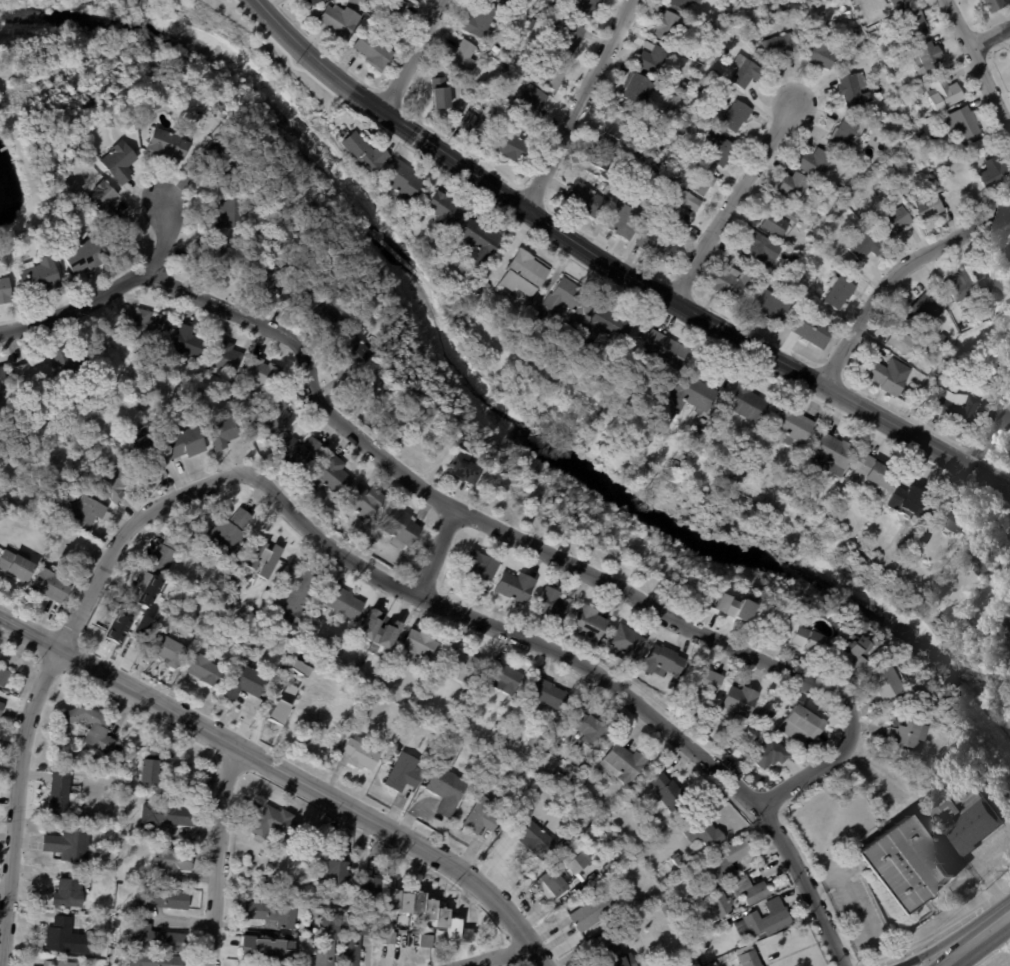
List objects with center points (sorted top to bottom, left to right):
building: (354, 0)
building: (744, 0)
building: (982, 0)
building: (311, 1)
building: (501, 1)
building: (317, 2)
building: (554, 4)
building: (684, 4)
building: (904, 4)
building: (995, 6)
building: (561, 8)
building: (368, 9)
building: (587, 9)
building: (392, 10)
building: (340, 21)
building: (482, 23)
building: (916, 24)
building: (807, 25)
building: (671, 27)
road: (988, 33)
building: (570, 37)
building: (779, 47)
building: (822, 50)
building: (375, 52)
building: (728, 53)
road: (409, 55)
building: (463, 58)
building: (929, 58)
building: (703, 59)
building: (654, 61)
road: (977, 66)
building: (746, 71)
building: (553, 75)
building: (855, 89)
building: (641, 91)
building: (948, 92)
building: (496, 93)
building: (442, 95)
road: (578, 104)
building: (676, 105)
building: (531, 106)
building: (112, 114)
building: (671, 117)
building: (690, 117)
building: (737, 117)
building: (621, 123)
building: (963, 126)
building: (477, 128)
building: (922, 131)
building: (845, 135)
building: (695, 141)
building: (165, 142)
building: (514, 147)
building: (672, 148)
building: (722, 148)
building: (364, 153)
building: (605, 156)
building: (973, 156)
building: (118, 160)
building: (223, 162)
building: (870, 162)
building: (816, 164)
building: (847, 166)
building: (995, 175)
building: (404, 180)
building: (705, 180)
building: (663, 181)
building: (604, 187)
building: (794, 187)
building: (841, 191)
building: (967, 193)
building: (849, 197)
building: (682, 202)
road: (733, 202)
building: (591, 203)
building: (103, 204)
building: (931, 204)
building: (446, 210)
building: (232, 212)
building: (778, 221)
building: (895, 221)
building: (625, 222)
building: (665, 225)
building: (302, 236)
building: (480, 239)
building: (657, 245)
building: (868, 247)
building: (467, 249)
building: (764, 250)
building: (215, 252)
building: (1008, 253)
building: (82, 255)
road: (617, 264)
building: (793, 264)
building: (526, 273)
road: (892, 273)
building: (263, 275)
building: (994, 275)
building: (38, 276)
building: (731, 284)
building: (962, 287)
building: (5, 291)
building: (300, 292)
road: (109, 293)
building: (840, 294)
building: (1009, 301)
building: (568, 303)
building: (771, 307)
building: (925, 310)
building: (335, 316)
building: (908, 325)
building: (151, 327)
building: (815, 331)
building: (602, 332)
building: (901, 341)
building: (190, 342)
building: (664, 350)
building: (354, 351)
building: (224, 357)
building: (1003, 359)
building: (71, 364)
building: (263, 373)
building: (33, 377)
building: (888, 378)
building: (3, 382)
building: (374, 388)
building: (651, 393)
building: (691, 395)
building: (204, 396)
building: (748, 403)
building: (956, 407)
building: (585, 413)
building: (404, 417)
building: (278, 418)
building: (792, 425)
building: (223, 432)
road: (989, 439)
building: (182, 441)
building: (645, 441)
building: (459, 445)
building: (144, 451)
building: (302, 452)
building: (833, 455)
building: (464, 470)
building: (289, 474)
building: (875, 475)
building: (333, 476)
building: (745, 477)
building: (115, 483)
building: (365, 500)
building: (910, 502)
building: (88, 512)
building: (957, 516)
building: (401, 528)
building: (46, 530)
building: (231, 531)
building: (378, 538)
road: (436, 552)
road: (538, 552)
building: (987, 554)
building: (165, 555)
building: (47, 557)
building: (262, 557)
building: (16, 566)
building: (484, 566)
building: (156, 585)
building: (51, 586)
building: (517, 587)
building: (299, 599)
building: (344, 602)
building: (554, 605)
building: (731, 607)
building: (136, 609)
building: (995, 618)
building: (591, 623)
building: (380, 630)
building: (808, 639)
building: (214, 640)
building: (628, 643)
building: (419, 645)
building: (855, 649)
building: (168, 650)
building: (133, 652)
building: (664, 662)
building: (463, 665)
building: (296, 667)
building: (206, 670)
road: (588, 670)
road: (46, 671)
building: (4, 677)
building: (506, 678)
building: (385, 681)
building: (705, 681)
building: (888, 681)
building: (246, 682)
building: (423, 682)
building: (672, 687)
building: (428, 694)
building: (548, 696)
building: (742, 702)
building: (1, 708)
building: (938, 708)
building: (287, 711)
building: (363, 717)
building: (360, 724)
building: (461, 725)
building: (803, 725)
building: (91, 726)
building: (588, 727)
building: (514, 730)
building: (907, 733)
building: (737, 738)
building: (538, 740)
building: (119, 750)
building: (771, 754)
building: (359, 755)
building: (624, 764)
building: (151, 765)
road: (287, 773)
building: (405, 774)
building: (448, 790)
building: (62, 791)
building: (671, 796)
building: (168, 814)
building: (965, 816)
building: (483, 817)
building: (274, 823)
building: (702, 831)
building: (535, 838)
building: (69, 844)
road: (223, 855)
building: (678, 861)
building: (173, 862)
building: (242, 862)
building: (905, 864)
building: (577, 865)
building: (724, 865)
building: (338, 866)
building: (556, 885)
building: (70, 890)
building: (368, 890)
building: (752, 890)
building: (161, 899)
building: (721, 906)
building: (669, 909)
building: (427, 911)
building: (595, 911)
building: (321, 912)
building: (272, 913)
building: (685, 916)
building: (770, 920)
road: (945, 931)
road: (955, 936)
building: (66, 937)
building: (157, 938)
building: (408, 938)
building: (329, 939)
building: (355, 939)
road: (978, 940)
building: (269, 950)
road: (498, 955)
building: (619, 956)
building: (155, 959)
building: (752, 959)
building: (59, 963)
building: (683, 964)
building: (690, 965)

